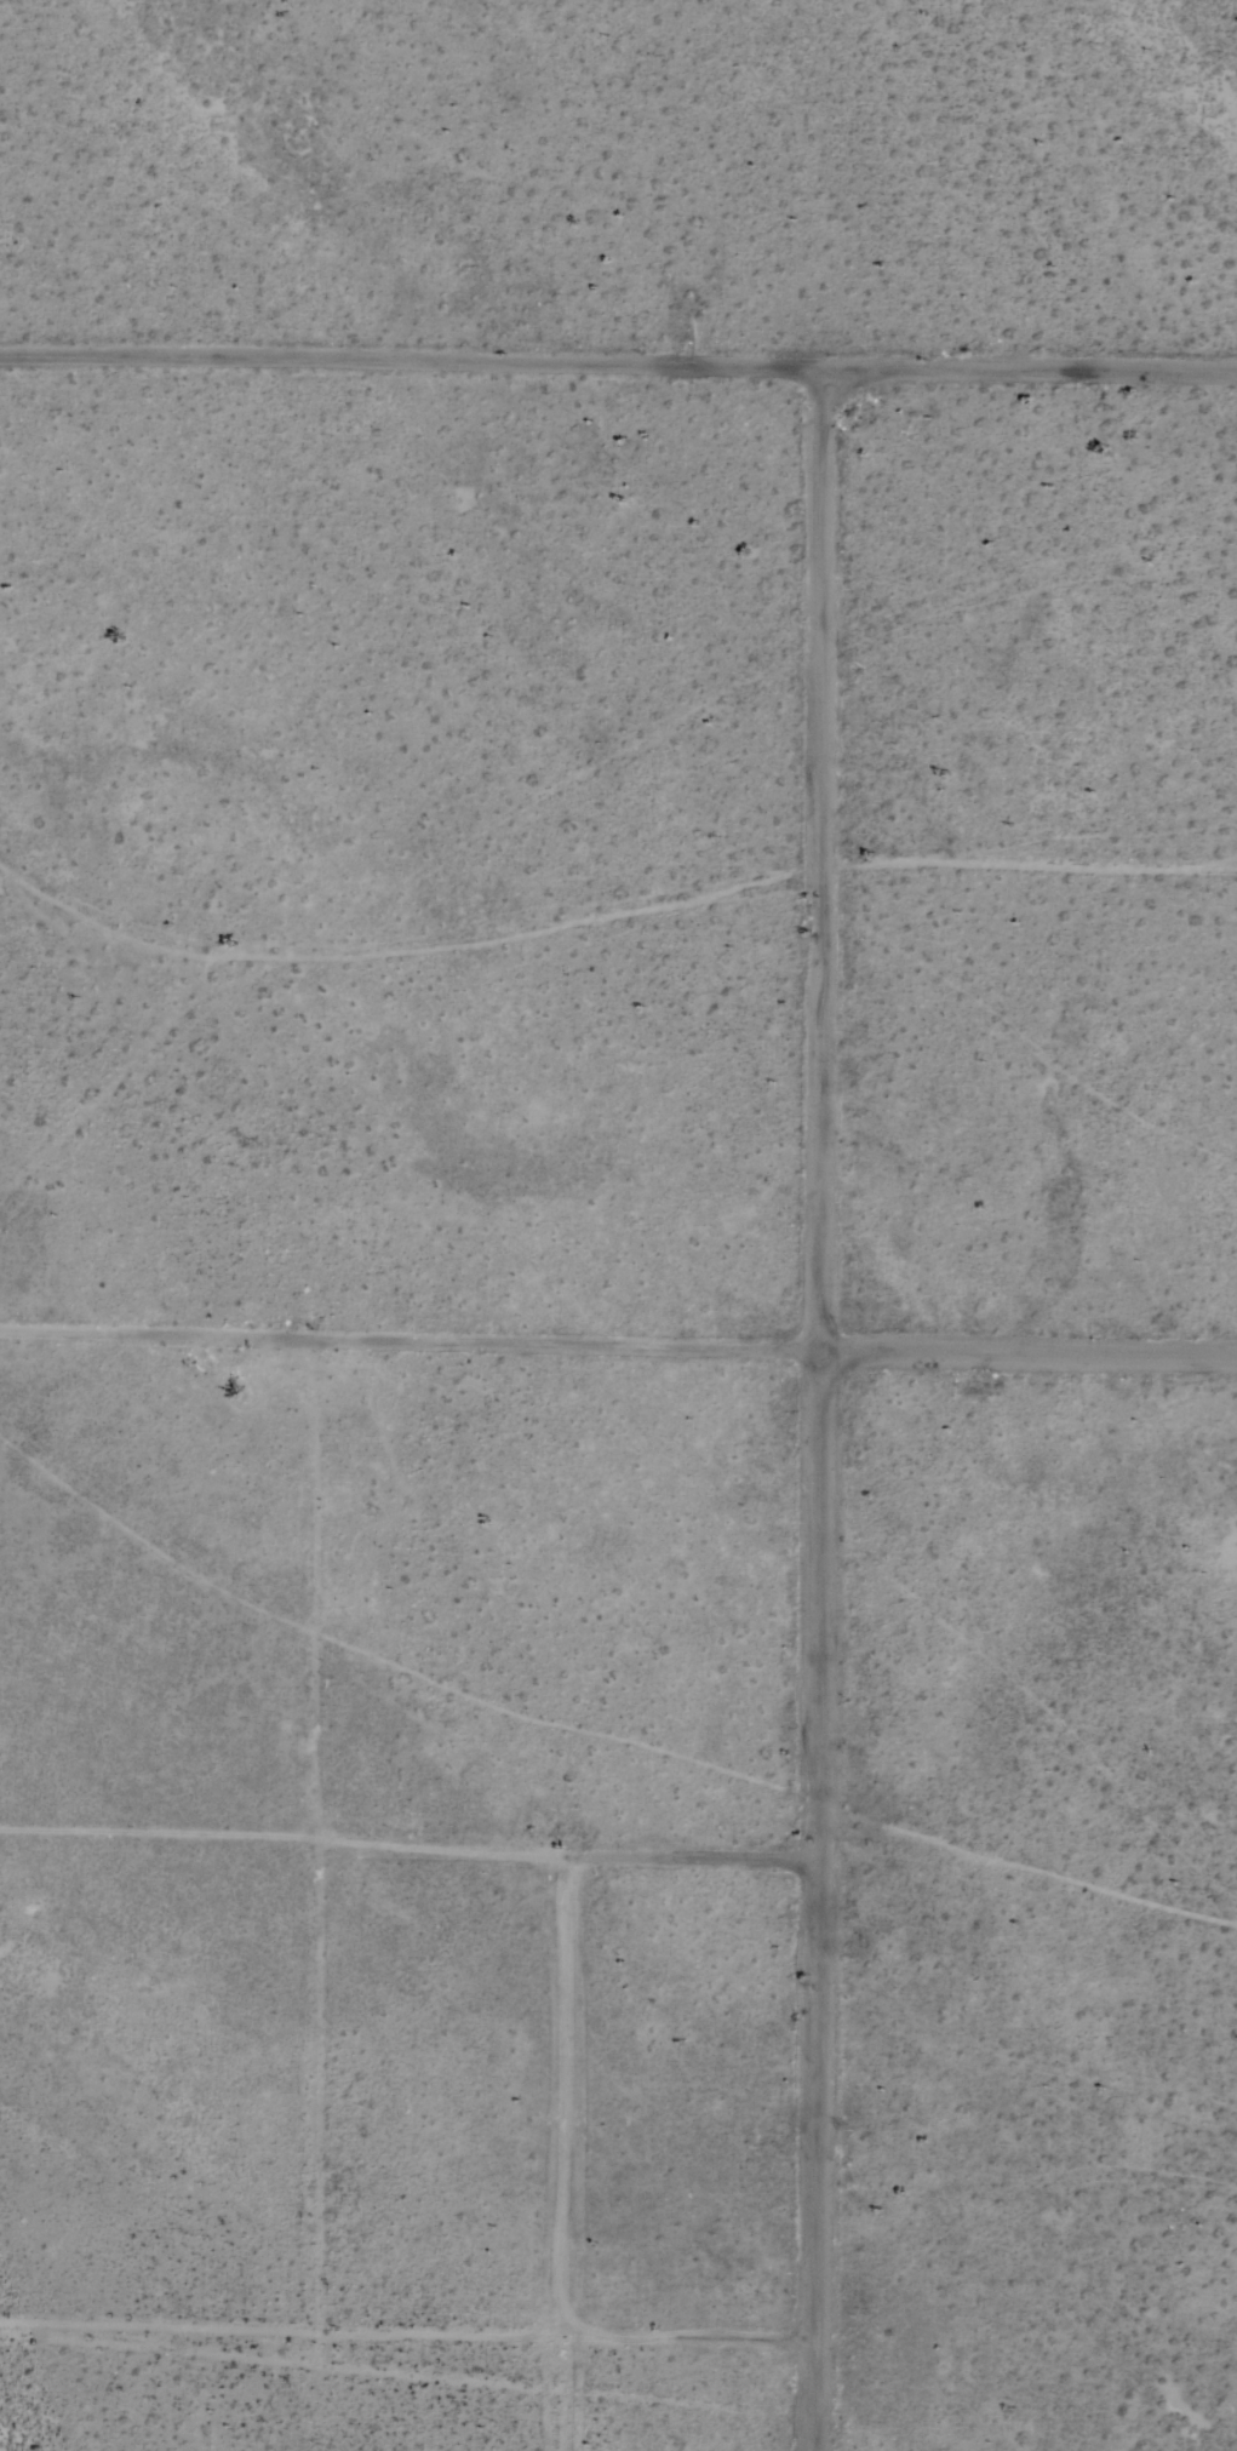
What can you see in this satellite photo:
road: (618, 371)
road: (1018, 859)
road: (618, 1351)
road: (821, 1413)
road: (333, 1833)
road: (619, 1871)
road: (622, 2098)
road: (618, 2325)

